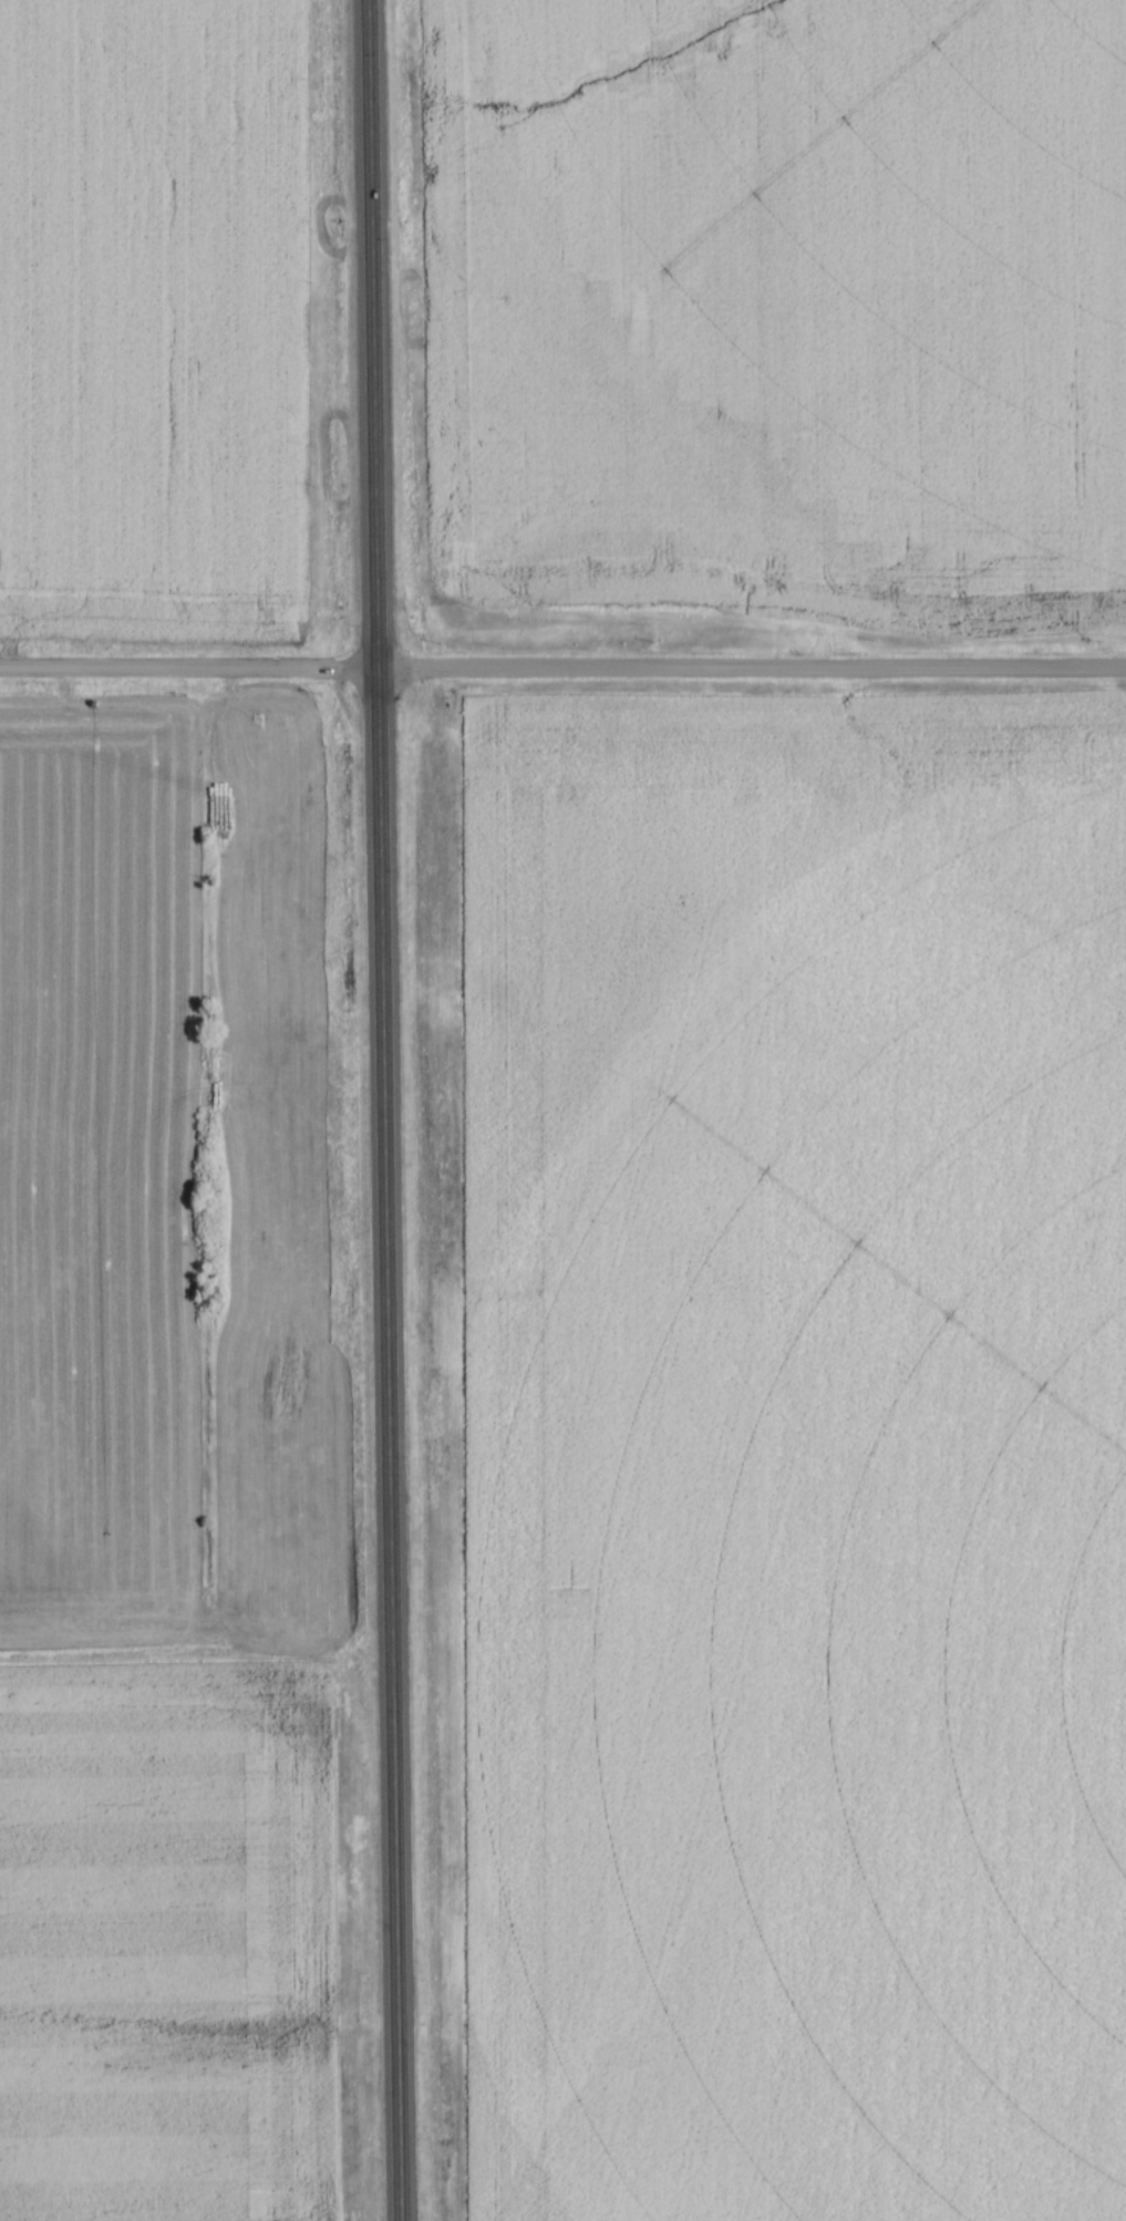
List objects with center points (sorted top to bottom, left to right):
road: (187, 669)
road: (751, 670)
road: (381, 1110)

